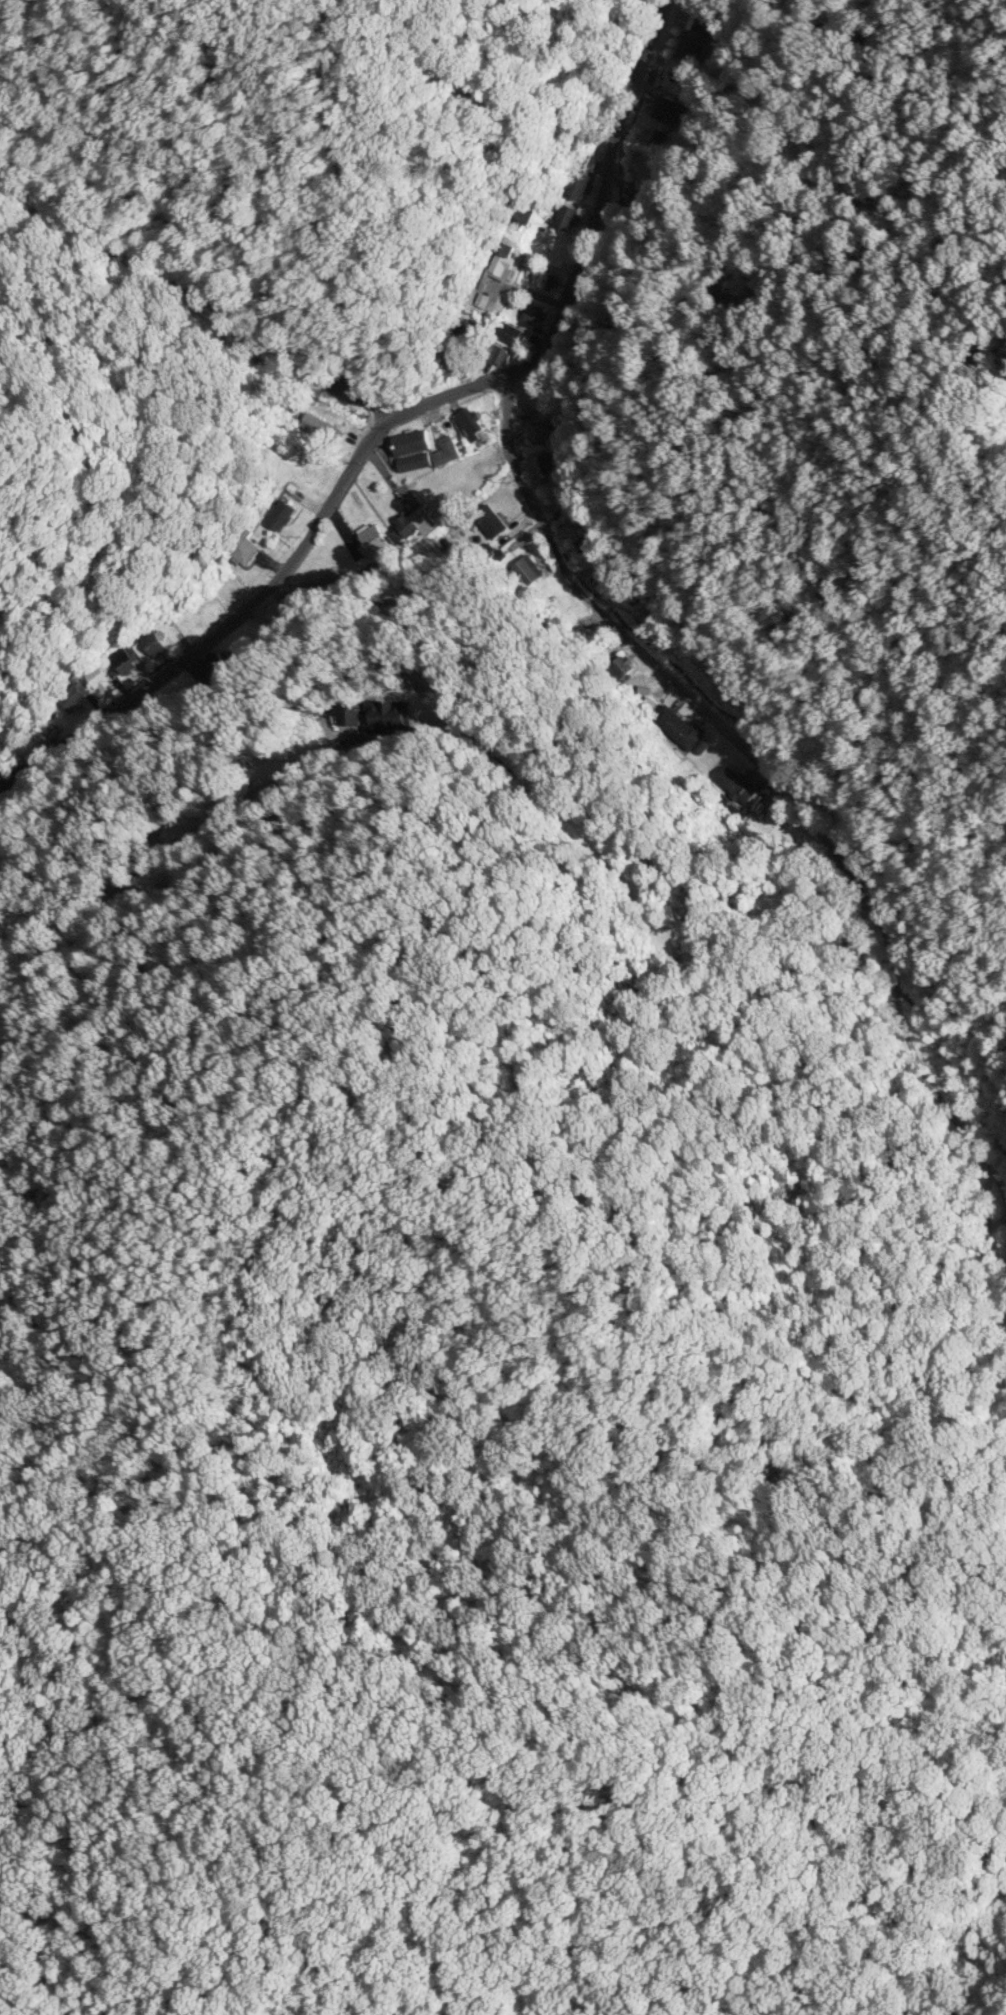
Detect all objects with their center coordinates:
building: (706, 23)
building: (690, 48)
building: (669, 107)
building: (580, 176)
road: (600, 197)
building: (523, 215)
building: (565, 217)
building: (497, 267)
building: (539, 278)
building: (533, 313)
building: (508, 333)
building: (497, 354)
building: (469, 424)
building: (319, 427)
building: (540, 432)
building: (410, 443)
building: (445, 451)
building: (413, 461)
building: (551, 461)
building: (280, 515)
building: (490, 521)
building: (413, 524)
building: (372, 540)
building: (246, 551)
building: (525, 570)
road: (264, 586)
road: (604, 614)
building: (154, 643)
building: (123, 658)
building: (220, 661)
building: (621, 667)
building: (96, 676)
building: (74, 697)
building: (386, 714)
building: (349, 716)
building: (677, 727)
building: (735, 785)

